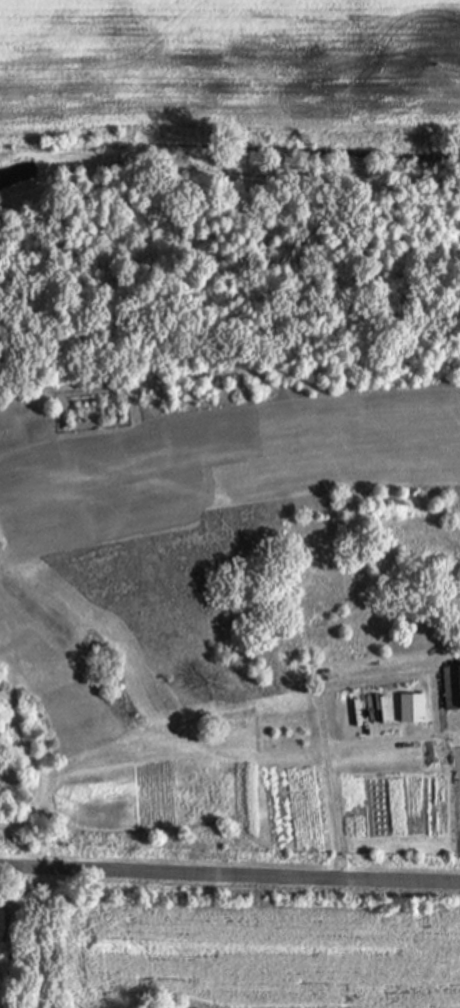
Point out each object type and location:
building: (451, 684)
building: (411, 706)
road: (229, 873)

